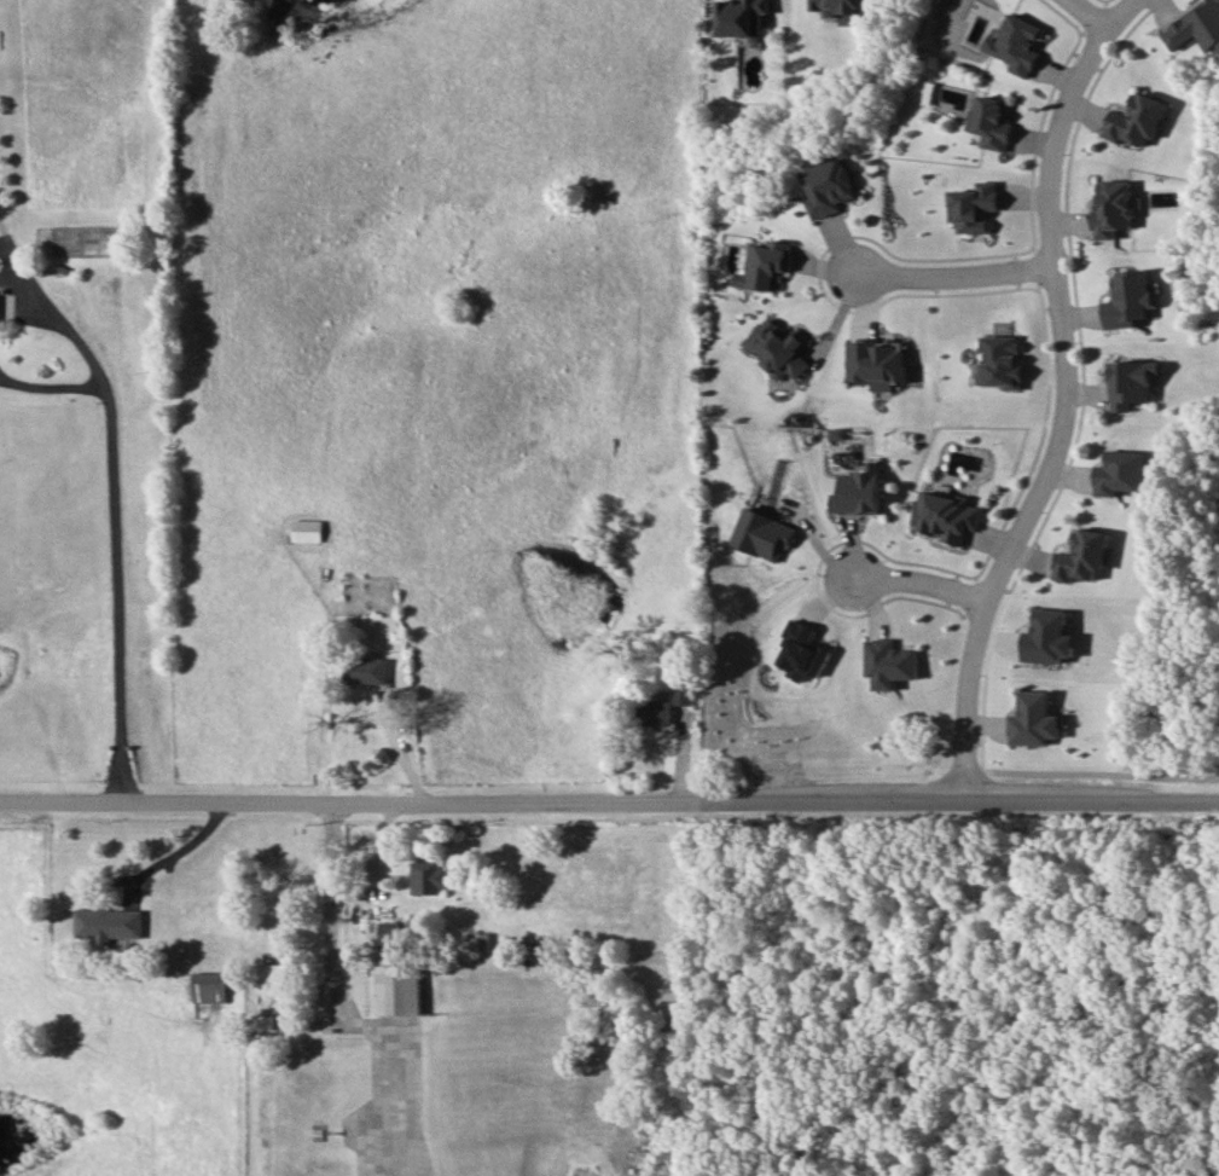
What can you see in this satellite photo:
building: (835, 6)
road: (1089, 16)
building: (739, 17)
building: (1195, 27)
building: (1015, 44)
building: (1134, 120)
building: (991, 122)
building: (825, 175)
building: (971, 205)
building: (1110, 207)
building: (766, 266)
road: (953, 274)
building: (1127, 299)
building: (0, 305)
building: (776, 348)
building: (999, 360)
building: (872, 363)
building: (1131, 382)
road: (50, 387)
road: (1062, 396)
building: (1120, 471)
building: (854, 492)
road: (116, 494)
building: (944, 512)
building: (762, 537)
building: (1082, 555)
road: (913, 579)
building: (1047, 637)
building: (799, 650)
building: (887, 662)
building: (367, 670)
building: (683, 694)
building: (664, 695)
building: (655, 712)
building: (1033, 719)
road: (397, 748)
road: (609, 803)
building: (426, 877)
road: (337, 913)
building: (112, 923)
building: (393, 934)
building: (277, 978)
building: (219, 990)
building: (405, 992)
building: (272, 1024)
road: (309, 1024)
road: (375, 1024)
airport: (445, 1044)
airport apron: (395, 1105)

